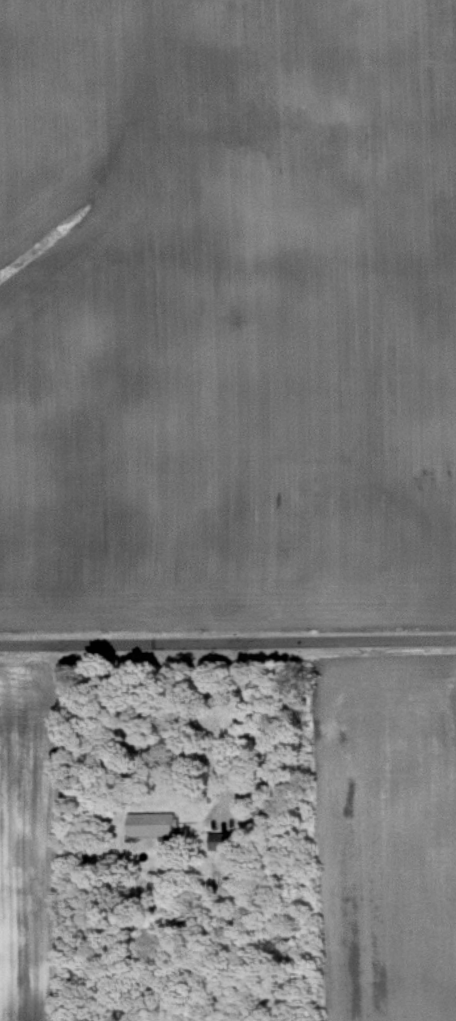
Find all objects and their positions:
road: (227, 642)
road: (233, 743)
building: (149, 824)
building: (217, 840)

